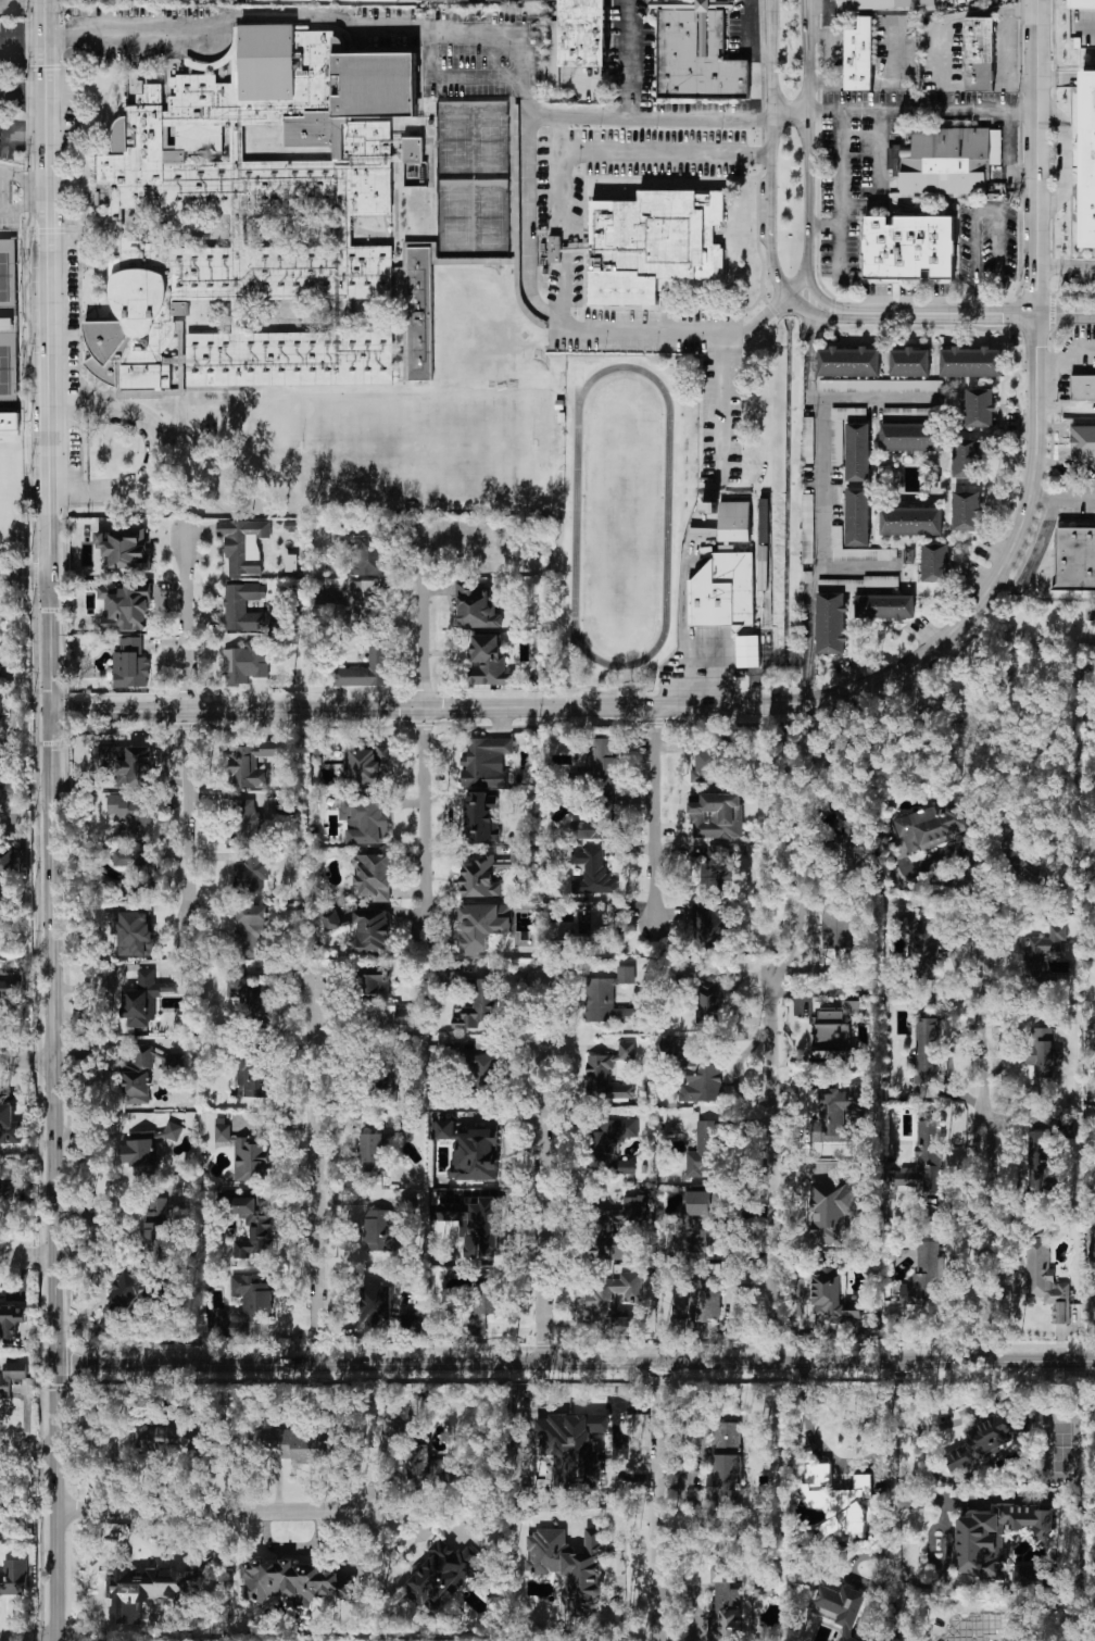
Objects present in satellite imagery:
building: (387, 0)
building: (511, 0)
building: (718, 0)
building: (879, 4)
road: (819, 7)
road: (1020, 9)
road: (989, 12)
road: (46, 20)
building: (1083, 22)
road: (437, 30)
building: (583, 33)
building: (702, 33)
road: (747, 38)
road: (23, 39)
building: (980, 54)
building: (859, 55)
road: (627, 59)
building: (696, 60)
road: (832, 60)
road: (46, 67)
road: (555, 67)
building: (554, 72)
road: (454, 75)
road: (1056, 79)
road: (23, 96)
road: (921, 110)
road: (789, 113)
road: (49, 116)
road: (24, 138)
road: (807, 139)
park: (457, 140)
park: (490, 140)
road: (770, 149)
road: (628, 152)
road: (1007, 155)
road: (1062, 155)
building: (1090, 158)
building: (942, 160)
road: (528, 167)
road: (881, 176)
road: (24, 178)
road: (841, 191)
road: (23, 204)
road: (986, 211)
building: (244, 214)
park: (456, 218)
park: (490, 218)
road: (823, 225)
building: (653, 243)
building: (909, 246)
building: (553, 249)
road: (1066, 266)
road: (796, 288)
road: (563, 291)
road: (973, 300)
road: (825, 301)
road: (999, 301)
road: (973, 312)
road: (816, 313)
road: (49, 315)
road: (621, 333)
road: (1077, 349)
road: (809, 355)
road: (1049, 358)
building: (848, 361)
building: (909, 361)
building: (971, 361)
park: (7, 378)
road: (1062, 381)
building: (881, 386)
building: (1083, 386)
road: (873, 398)
road: (720, 406)
building: (980, 406)
road: (1066, 408)
building: (912, 413)
road: (1066, 423)
building: (841, 428)
building: (911, 435)
building: (807, 439)
building: (1083, 440)
park: (413, 447)
road: (156, 451)
building: (858, 451)
building: (966, 456)
road: (1053, 463)
road: (1081, 465)
building: (16, 485)
road: (1062, 501)
building: (708, 504)
building: (966, 509)
track: (575, 515)
building: (858, 515)
road: (822, 518)
building: (911, 521)
building: (807, 527)
building: (243, 544)
building: (125, 549)
building: (857, 549)
building: (364, 550)
building: (908, 554)
building: (1075, 558)
road: (1033, 559)
building: (935, 561)
building: (291, 562)
road: (24, 574)
building: (725, 575)
building: (861, 584)
road: (1039, 599)
building: (365, 602)
building: (884, 604)
building: (126, 605)
building: (243, 606)
building: (477, 606)
building: (1091, 613)
building: (831, 622)
road: (807, 631)
building: (488, 660)
building: (246, 662)
building: (130, 664)
building: (365, 669)
road: (754, 672)
building: (1015, 674)
building: (0, 678)
road: (1023, 691)
road: (838, 694)
building: (0, 704)
park: (968, 705)
road: (1030, 715)
road: (999, 728)
road: (186, 729)
road: (423, 731)
building: (714, 754)
building: (484, 761)
building: (599, 761)
building: (253, 762)
building: (365, 762)
building: (127, 764)
road: (24, 788)
building: (287, 800)
building: (471, 810)
road: (652, 814)
building: (715, 814)
building: (134, 815)
building: (365, 818)
building: (247, 819)
building: (1014, 824)
building: (930, 826)
building: (588, 828)
building: (855, 842)
building: (7, 859)
building: (136, 867)
building: (253, 870)
building: (593, 870)
building: (714, 870)
building: (487, 874)
building: (374, 876)
building: (332, 920)
building: (844, 923)
building: (482, 926)
building: (250, 928)
building: (719, 929)
building: (373, 930)
road: (797, 931)
building: (135, 932)
building: (920, 947)
building: (1044, 947)
building: (450, 976)
building: (854, 982)
building: (375, 985)
building: (143, 998)
building: (607, 998)
building: (253, 1000)
building: (709, 1000)
building: (478, 1004)
building: (1042, 1014)
building: (404, 1015)
building: (834, 1031)
road: (86, 1037)
building: (927, 1049)
building: (1042, 1053)
road: (25, 1058)
road: (51, 1066)
building: (482, 1066)
building: (608, 1074)
building: (138, 1076)
building: (253, 1076)
building: (696, 1076)
building: (380, 1089)
building: (840, 1104)
building: (1094, 1111)
building: (9, 1125)
building: (611, 1144)
road: (986, 1144)
building: (147, 1148)
building: (704, 1149)
building: (471, 1151)
building: (373, 1152)
building: (244, 1153)
building: (926, 1158)
building: (1040, 1161)
road: (316, 1163)
road: (547, 1168)
road: (775, 1169)
building: (158, 1206)
building: (693, 1220)
building: (474, 1223)
building: (252, 1226)
road: (91, 1227)
building: (379, 1229)
building: (620, 1229)
building: (153, 1231)
road: (26, 1256)
building: (924, 1276)
building: (1046, 1279)
building: (614, 1299)
building: (833, 1299)
building: (122, 1300)
building: (706, 1300)
building: (484, 1301)
building: (244, 1306)
building: (383, 1307)
building: (11, 1318)
road: (1092, 1323)
road: (575, 1366)
building: (11, 1376)
road: (664, 1399)
building: (417, 1418)
building: (165, 1435)
building: (983, 1441)
building: (294, 1442)
road: (818, 1442)
building: (572, 1445)
road: (27, 1449)
building: (726, 1460)
building: (429, 1467)
building: (836, 1500)
road: (891, 1503)
building: (4, 1508)
road: (221, 1510)
road: (660, 1536)
building: (996, 1537)
building: (570, 1566)
building: (1027, 1571)
building: (442, 1573)
building: (14, 1577)
building: (292, 1581)
building: (725, 1605)
building: (125, 1606)
building: (841, 1607)
road: (27, 1639)

